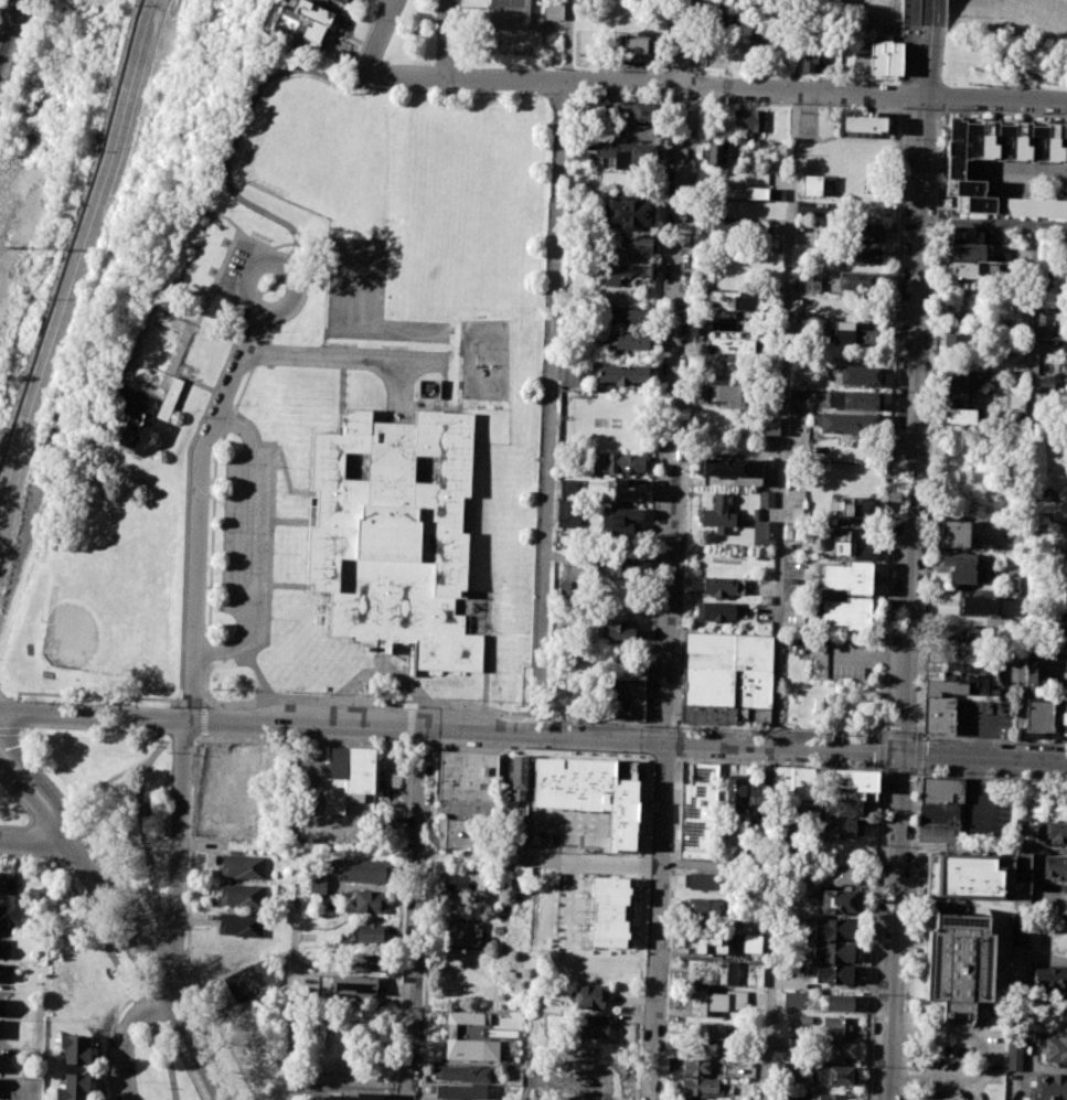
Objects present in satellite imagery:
building: (342, 0)
building: (728, 6)
building: (553, 10)
road: (911, 11)
building: (509, 13)
road: (932, 13)
building: (312, 21)
building: (724, 23)
railway: (10, 26)
road: (383, 34)
road: (446, 39)
building: (761, 39)
road: (568, 41)
road: (683, 43)
building: (610, 45)
building: (639, 50)
road: (910, 53)
building: (809, 57)
building: (885, 60)
road: (716, 88)
road: (907, 94)
building: (619, 110)
road: (920, 111)
street lamp: (1039, 111)
road: (1002, 114)
building: (753, 119)
building: (861, 124)
building: (638, 132)
road: (239, 134)
street lamp: (903, 139)
building: (623, 154)
building: (721, 154)
building: (579, 158)
building: (954, 170)
building: (810, 185)
building: (738, 193)
building: (778, 194)
building: (629, 213)
road: (993, 222)
building: (722, 226)
building: (867, 232)
building: (965, 234)
building: (637, 245)
building: (967, 252)
building: (864, 254)
road: (77, 260)
building: (963, 269)
building: (626, 271)
road: (248, 275)
road: (216, 278)
road: (181, 280)
building: (854, 280)
building: (811, 281)
building: (574, 295)
road: (296, 301)
building: (726, 301)
road: (689, 308)
building: (630, 316)
building: (1045, 321)
building: (850, 333)
building: (956, 341)
building: (628, 343)
building: (1012, 348)
building: (733, 350)
road: (380, 351)
road: (132, 355)
road: (255, 355)
road: (341, 360)
building: (620, 374)
building: (858, 375)
building: (569, 376)
building: (956, 380)
building: (1046, 381)
road: (199, 384)
park: (138, 385)
building: (428, 388)
road: (914, 388)
road: (398, 391)
building: (723, 396)
building: (953, 397)
building: (168, 398)
building: (1016, 399)
building: (854, 401)
road: (548, 410)
road: (671, 416)
building: (960, 416)
road: (782, 419)
building: (847, 424)
road: (928, 425)
building: (769, 426)
building: (619, 462)
building: (722, 468)
building: (768, 472)
building: (568, 488)
building: (627, 489)
road: (1026, 491)
building: (1042, 492)
building: (765, 499)
road: (270, 505)
building: (566, 509)
building: (855, 509)
building: (1053, 510)
road: (199, 511)
building: (717, 514)
road: (183, 515)
road: (889, 519)
building: (621, 520)
building: (766, 530)
building: (395, 533)
building: (953, 534)
parking lot: (245, 544)
road: (250, 545)
building: (861, 552)
building: (1063, 563)
building: (618, 565)
building: (959, 566)
building: (847, 577)
building: (717, 586)
building: (569, 589)
building: (978, 605)
park: (104, 611)
building: (717, 611)
building: (845, 612)
building: (1066, 618)
building: (615, 632)
building: (949, 632)
building: (947, 654)
road: (857, 658)
parking lot: (844, 659)
road: (234, 662)
building: (1066, 662)
building: (630, 671)
building: (751, 671)
building: (1035, 677)
building: (956, 685)
road: (88, 695)
road: (362, 698)
building: (615, 699)
building: (633, 701)
road: (410, 704)
building: (938, 714)
road: (90, 716)
road: (203, 716)
road: (534, 717)
building: (1037, 717)
building: (1064, 718)
road: (185, 720)
road: (596, 720)
road: (408, 724)
road: (9, 729)
road: (879, 730)
road: (881, 733)
road: (899, 733)
road: (202, 736)
road: (181, 737)
road: (990, 738)
road: (544, 740)
road: (645, 740)
road: (301, 741)
road: (676, 743)
road: (420, 748)
road: (879, 749)
road: (541, 752)
road: (916, 752)
road: (982, 756)
road: (662, 758)
road: (674, 758)
road: (778, 762)
road: (897, 769)
road: (990, 773)
road: (35, 776)
road: (116, 777)
building: (348, 777)
building: (518, 777)
building: (467, 778)
building: (835, 778)
building: (851, 779)
building: (866, 779)
building: (790, 781)
building: (590, 792)
building: (734, 792)
building: (852, 794)
building: (868, 794)
road: (29, 799)
building: (757, 800)
building: (842, 807)
building: (939, 809)
building: (698, 812)
road: (94, 814)
building: (839, 826)
building: (857, 827)
building: (1056, 831)
building: (461, 833)
road: (34, 841)
road: (175, 854)
road: (536, 858)
building: (242, 866)
building: (1055, 867)
building: (363, 871)
building: (968, 875)
building: (842, 876)
building: (700, 880)
building: (317, 883)
building: (465, 883)
building: (33, 891)
building: (242, 895)
building: (839, 900)
building: (1054, 900)
building: (369, 901)
building: (704, 906)
building: (608, 911)
road: (413, 915)
road: (399, 921)
road: (655, 921)
road: (153, 922)
road: (427, 923)
building: (238, 925)
road: (188, 926)
road: (892, 926)
road: (641, 927)
road: (770, 927)
road: (670, 929)
building: (833, 929)
building: (370, 932)
building: (462, 932)
road: (873, 932)
road: (908, 933)
building: (1018, 937)
building: (705, 942)
building: (751, 943)
building: (832, 951)
road: (151, 959)
road: (1039, 960)
building: (369, 963)
building: (957, 963)
building: (1, 971)
building: (707, 971)
building: (835, 973)
building: (755, 978)
building: (1048, 980)
building: (248, 981)
building: (349, 984)
building: (589, 996)
building: (793, 1000)
building: (715, 1001)
building: (841, 1003)
building: (467, 1017)
building: (837, 1026)
building: (589, 1028)
building: (708, 1030)
road: (125, 1036)
building: (76, 1048)
building: (715, 1048)
building: (1053, 1048)
building: (471, 1049)
building: (839, 1051)
building: (1013, 1053)
road: (981, 1059)
building: (695, 1067)
building: (785, 1072)
building: (459, 1074)
building: (835, 1076)
building: (1049, 1086)
building: (74, 1087)
building: (703, 1087)
building: (460, 1091)
building: (787, 1097)
building: (826, 1097)

